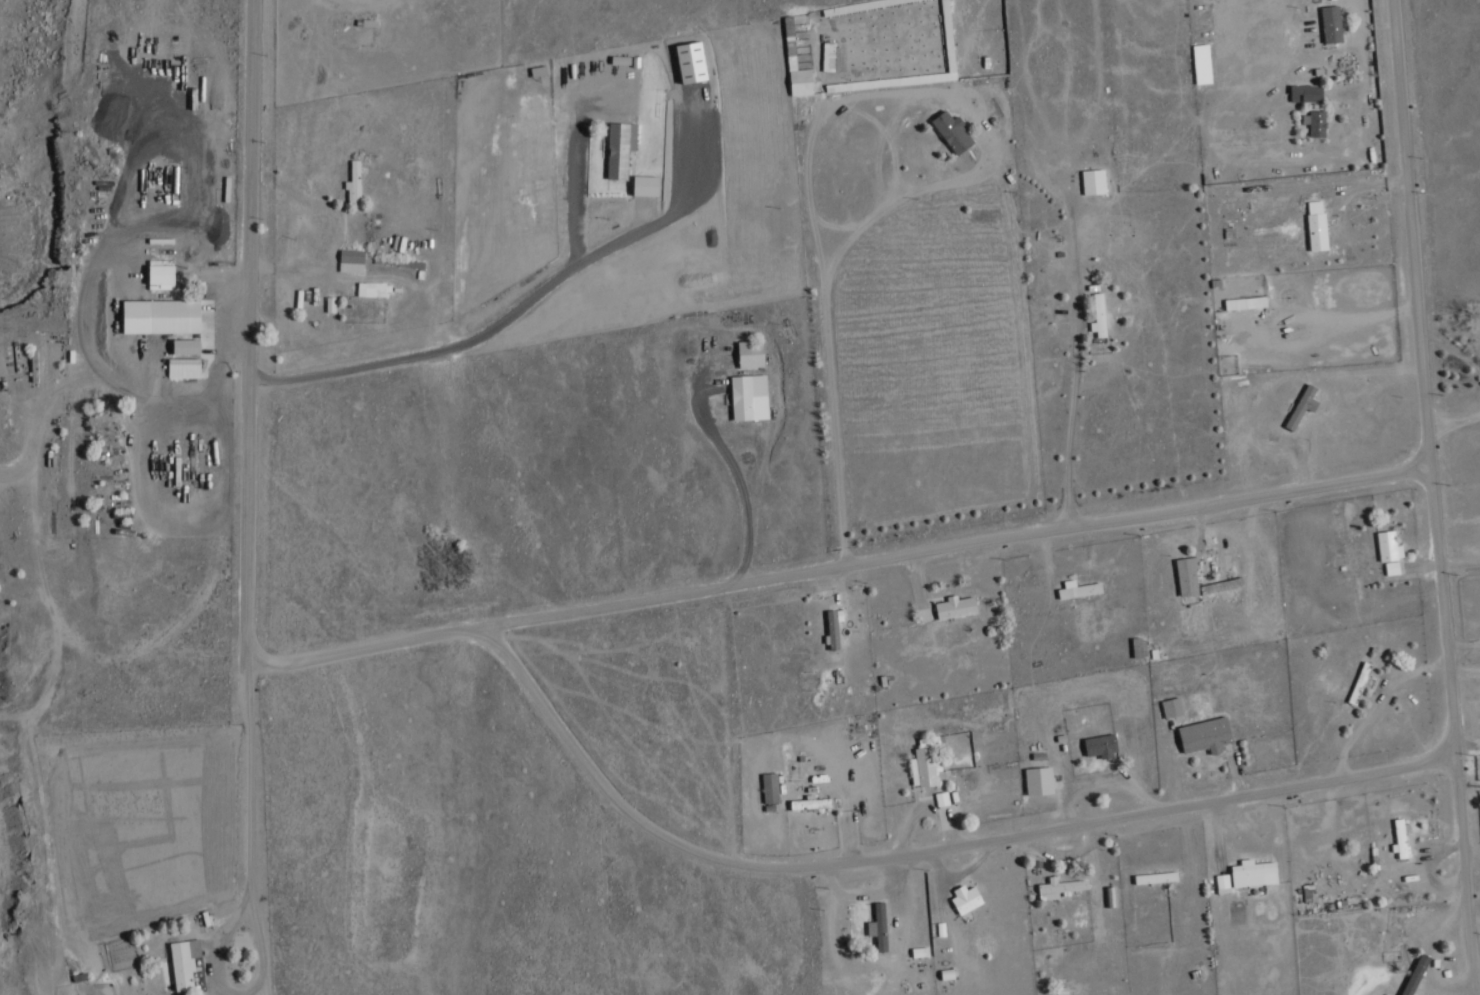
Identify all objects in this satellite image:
building: (1332, 24)
building: (691, 62)
building: (1202, 63)
road: (732, 72)
building: (801, 82)
building: (1306, 93)
building: (1315, 123)
building: (953, 131)
building: (619, 149)
building: (1094, 181)
building: (645, 185)
building: (1317, 225)
road: (326, 229)
building: (351, 260)
building: (161, 275)
building: (371, 289)
building: (1245, 303)
road: (107, 315)
building: (161, 316)
building: (1099, 316)
road: (478, 337)
building: (186, 346)
building: (750, 354)
building: (184, 368)
building: (749, 397)
building: (1303, 406)
road: (1078, 414)
road: (1456, 414)
road: (252, 446)
road: (748, 490)
road: (1440, 490)
building: (1389, 546)
road: (1464, 563)
road: (843, 564)
building: (1392, 567)
building: (1188, 575)
building: (1078, 589)
building: (956, 606)
building: (833, 627)
road: (1468, 671)
building: (1172, 707)
building: (1205, 734)
road: (1470, 739)
building: (1101, 745)
building: (925, 762)
road: (1105, 775)
building: (1039, 780)
road: (1470, 784)
building: (770, 787)
building: (942, 798)
building: (817, 803)
building: (1401, 838)
road: (921, 849)
road: (1476, 852)
road: (1195, 856)
building: (1254, 873)
building: (1222, 880)
building: (1059, 886)
building: (966, 898)
road: (1477, 923)
building: (879, 926)
road: (1431, 955)
road: (1478, 956)
building: (184, 963)
building: (1408, 971)
road: (239, 988)

